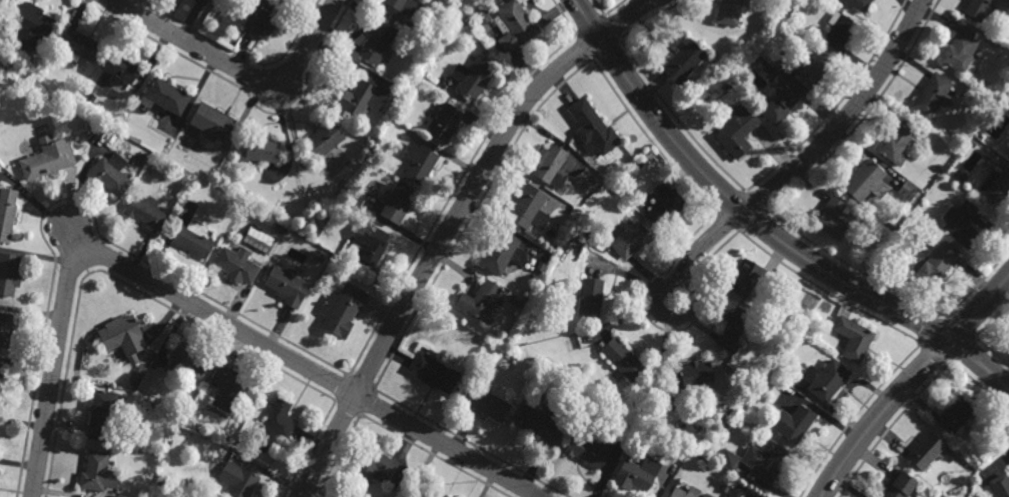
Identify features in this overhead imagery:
road: (655, 1)
building: (200, 2)
building: (798, 2)
building: (856, 5)
building: (406, 6)
building: (979, 9)
building: (732, 11)
building: (464, 13)
building: (482, 16)
road: (623, 18)
building: (259, 19)
building: (30, 22)
building: (514, 25)
building: (836, 32)
building: (377, 42)
building: (82, 45)
building: (960, 52)
building: (686, 61)
building: (122, 69)
road: (239, 69)
building: (811, 69)
building: (26, 71)
building: (473, 76)
building: (727, 89)
building: (166, 96)
building: (777, 97)
building: (931, 97)
building: (361, 99)
road: (847, 116)
building: (211, 121)
building: (444, 121)
building: (593, 129)
building: (738, 129)
building: (322, 139)
building: (897, 143)
building: (972, 143)
building: (262, 150)
building: (47, 157)
building: (626, 157)
building: (418, 162)
building: (551, 165)
building: (938, 168)
building: (110, 173)
building: (585, 179)
building: (865, 180)
building: (996, 186)
building: (907, 189)
road: (734, 201)
building: (397, 202)
building: (666, 205)
building: (528, 206)
building: (6, 211)
building: (146, 211)
building: (831, 218)
building: (960, 222)
building: (890, 225)
road: (74, 236)
building: (592, 236)
building: (193, 237)
building: (630, 237)
building: (257, 238)
building: (371, 240)
building: (556, 247)
building: (501, 251)
road: (434, 253)
building: (237, 264)
building: (934, 265)
building: (9, 272)
building: (331, 274)
building: (748, 277)
road: (678, 283)
building: (286, 284)
building: (590, 296)
building: (479, 301)
road: (199, 307)
building: (342, 308)
road: (981, 309)
building: (814, 314)
building: (5, 328)
building: (733, 328)
building: (122, 335)
building: (853, 337)
building: (1008, 348)
building: (515, 356)
building: (187, 357)
building: (623, 358)
road: (981, 362)
building: (154, 363)
building: (433, 371)
building: (688, 373)
building: (2, 375)
building: (824, 377)
building: (132, 384)
building: (231, 387)
building: (751, 389)
building: (486, 402)
building: (100, 413)
road: (879, 413)
building: (953, 414)
building: (279, 418)
building: (542, 420)
building: (191, 421)
building: (792, 422)
building: (590, 448)
building: (925, 450)
building: (755, 459)
building: (373, 465)
building: (96, 471)
building: (636, 473)
building: (194, 479)
building: (237, 479)
building: (898, 484)
building: (1000, 485)
building: (681, 491)
building: (431, 493)
building: (147, 495)
building: (704, 495)

